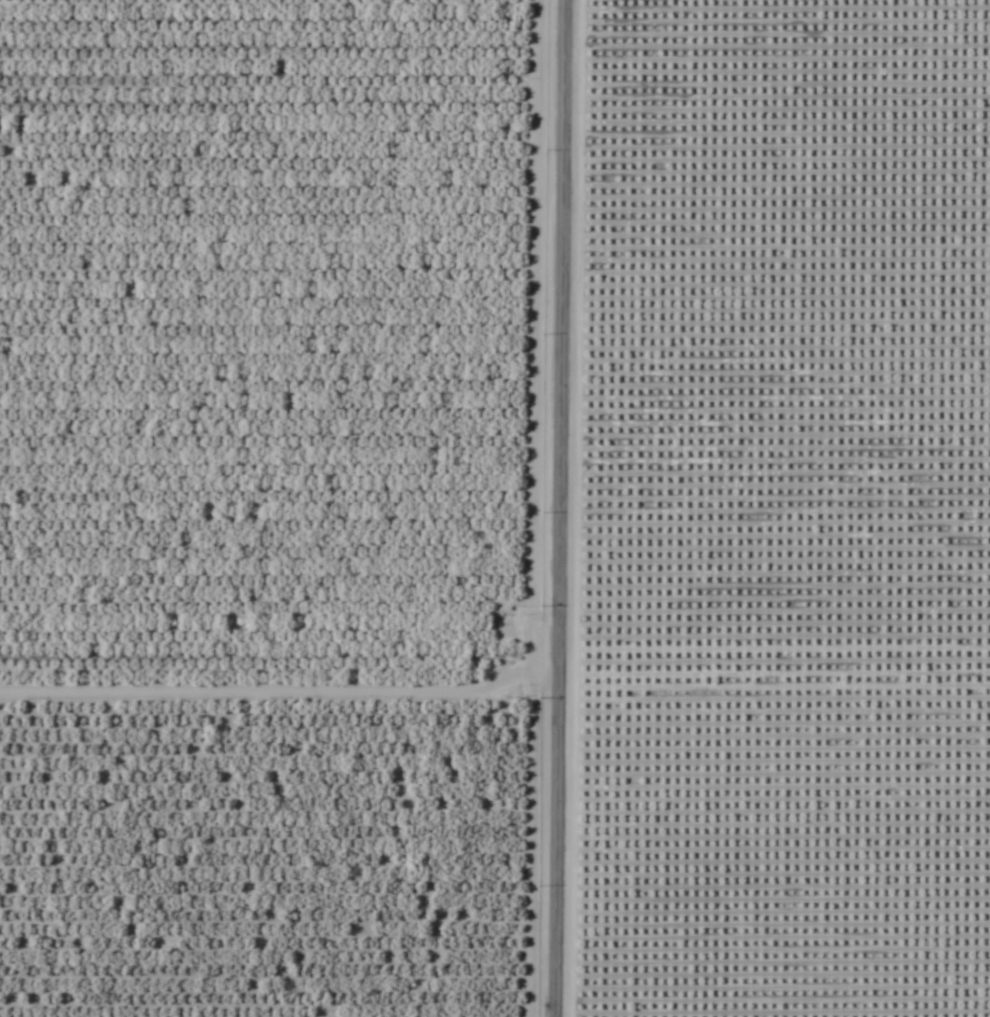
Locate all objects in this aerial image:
road: (558, 508)

